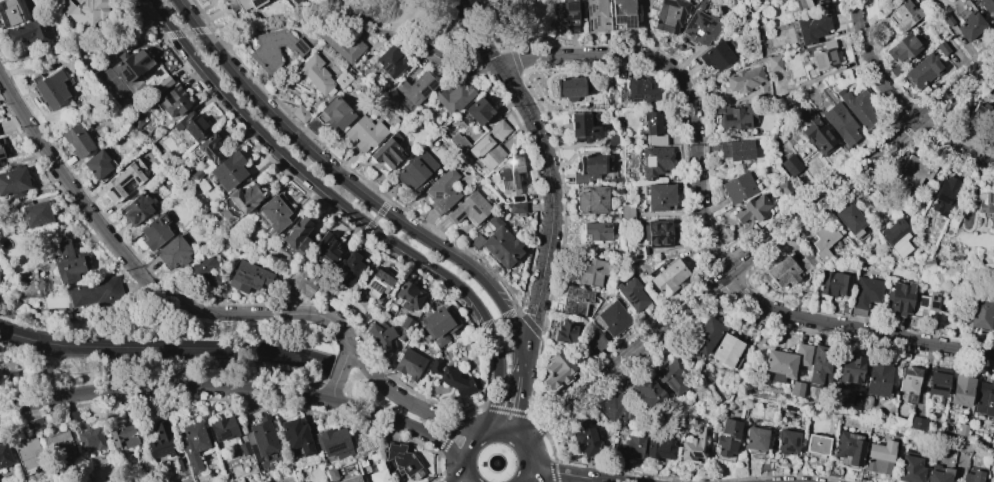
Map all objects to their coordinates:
building: (891, 0)
building: (294, 1)
building: (243, 4)
building: (701, 4)
building: (809, 4)
building: (987, 7)
rooftop solar panel: (589, 8)
building: (84, 10)
building: (12, 12)
building: (567, 14)
building: (623, 14)
building: (597, 15)
building: (670, 15)
building: (904, 15)
road: (281, 18)
road: (507, 19)
building: (947, 19)
rooftop solar panel: (628, 20)
park: (516, 21)
rooftop solar panel: (704, 21)
rooftop solar panel: (594, 22)
rooftop solar panel: (690, 22)
park: (409, 25)
building: (970, 26)
building: (701, 27)
building: (812, 28)
building: (31, 31)
road: (475, 31)
rooftop solar panel: (693, 33)
road: (408, 37)
rooftop solar panel: (690, 38)
building: (341, 45)
road: (88, 48)
building: (274, 48)
building: (903, 48)
building: (942, 48)
building: (717, 54)
road: (500, 55)
building: (824, 59)
building: (390, 61)
building: (774, 63)
building: (131, 65)
road: (459, 69)
building: (896, 69)
building: (922, 71)
building: (314, 74)
building: (342, 79)
building: (744, 79)
rooftop solar panel: (434, 83)
building: (163, 84)
building: (569, 88)
building: (51, 89)
building: (414, 90)
rooftop solar panel: (425, 90)
building: (640, 91)
building: (452, 96)
rooftop solar panel: (635, 96)
road: (890, 96)
rooftop solar panel: (651, 97)
building: (597, 100)
building: (174, 101)
building: (859, 108)
building: (478, 111)
building: (301, 113)
building: (334, 113)
building: (979, 115)
rooftop solar panel: (727, 117)
building: (732, 118)
building: (137, 122)
building: (840, 123)
rooftop solar panel: (746, 124)
building: (192, 125)
building: (584, 126)
building: (653, 129)
building: (364, 133)
building: (819, 136)
building: (77, 141)
building: (458, 142)
building: (489, 145)
building: (209, 148)
building: (736, 150)
building: (387, 152)
building: (1, 154)
road: (983, 160)
building: (654, 161)
building: (99, 165)
building: (791, 165)
building: (591, 167)
building: (229, 170)
building: (414, 170)
building: (913, 171)
building: (197, 174)
building: (508, 174)
rooftop solar panel: (509, 174)
building: (123, 180)
building: (14, 182)
road: (345, 182)
road: (69, 186)
rooftop solar panel: (508, 186)
building: (739, 187)
building: (784, 187)
building: (442, 191)
rooftop solar panel: (438, 193)
building: (944, 196)
building: (658, 197)
building: (245, 198)
rooftop solar panel: (944, 199)
road: (551, 200)
building: (592, 200)
rooftop solar panel: (440, 206)
building: (986, 206)
building: (517, 208)
road: (350, 209)
building: (469, 209)
building: (751, 209)
rooftop solar panel: (992, 209)
building: (136, 210)
building: (626, 212)
building: (274, 213)
building: (36, 214)
building: (851, 220)
road: (702, 224)
building: (154, 231)
building: (595, 231)
building: (296, 232)
building: (658, 233)
building: (896, 236)
building: (823, 240)
building: (497, 243)
building: (301, 245)
building: (845, 245)
road: (757, 248)
building: (326, 249)
building: (173, 252)
building: (892, 262)
building: (69, 263)
building: (205, 269)
building: (347, 269)
building: (789, 270)
building: (591, 271)
building: (248, 276)
building: (665, 276)
building: (300, 282)
building: (376, 282)
building: (834, 283)
rooftop solar panel: (375, 288)
building: (96, 293)
building: (632, 294)
building: (866, 294)
building: (408, 296)
rooftop solar panel: (935, 296)
building: (900, 298)
road: (173, 300)
building: (575, 301)
rooftop solar panel: (922, 302)
building: (927, 305)
rooftop solar panel: (932, 305)
building: (845, 307)
road: (209, 312)
road: (291, 313)
building: (980, 314)
road: (80, 318)
building: (614, 319)
building: (406, 323)
building: (992, 323)
building: (438, 326)
building: (565, 331)
building: (381, 335)
building: (402, 335)
building: (706, 336)
building: (592, 341)
road: (165, 348)
building: (726, 351)
building: (786, 362)
building: (408, 363)
building: (819, 365)
building: (851, 368)
road: (167, 369)
road: (338, 372)
building: (556, 373)
building: (671, 376)
building: (451, 377)
building: (877, 377)
building: (909, 380)
building: (937, 381)
road: (238, 388)
building: (796, 389)
rooftop solar panel: (935, 389)
road: (517, 390)
building: (961, 390)
building: (650, 394)
building: (985, 398)
road: (404, 400)
building: (616, 409)
building: (73, 416)
building: (35, 423)
building: (916, 424)
building: (223, 428)
road: (501, 429)
rooftop solar panel: (226, 435)
building: (123, 436)
building: (261, 436)
building: (296, 436)
building: (727, 437)
building: (586, 438)
building: (90, 439)
building: (755, 439)
building: (57, 440)
building: (161, 441)
building: (787, 441)
road: (469, 442)
building: (335, 443)
building: (193, 444)
building: (817, 444)
building: (694, 445)
building: (632, 447)
building: (850, 447)
building: (243, 448)
rooftop solar panel: (335, 448)
building: (659, 448)
building: (28, 452)
road: (529, 452)
building: (4, 455)
building: (879, 457)
building: (403, 461)
building: (362, 462)
fountain: (496, 463)
building: (910, 468)
building: (331, 473)
building: (378, 473)
building: (939, 473)
road: (568, 475)
road: (459, 476)
road: (466, 476)
building: (972, 476)
building: (351, 479)
road: (574, 479)
road: (528, 480)
building: (293, 481)
building: (323, 481)
building: (324, 481)

